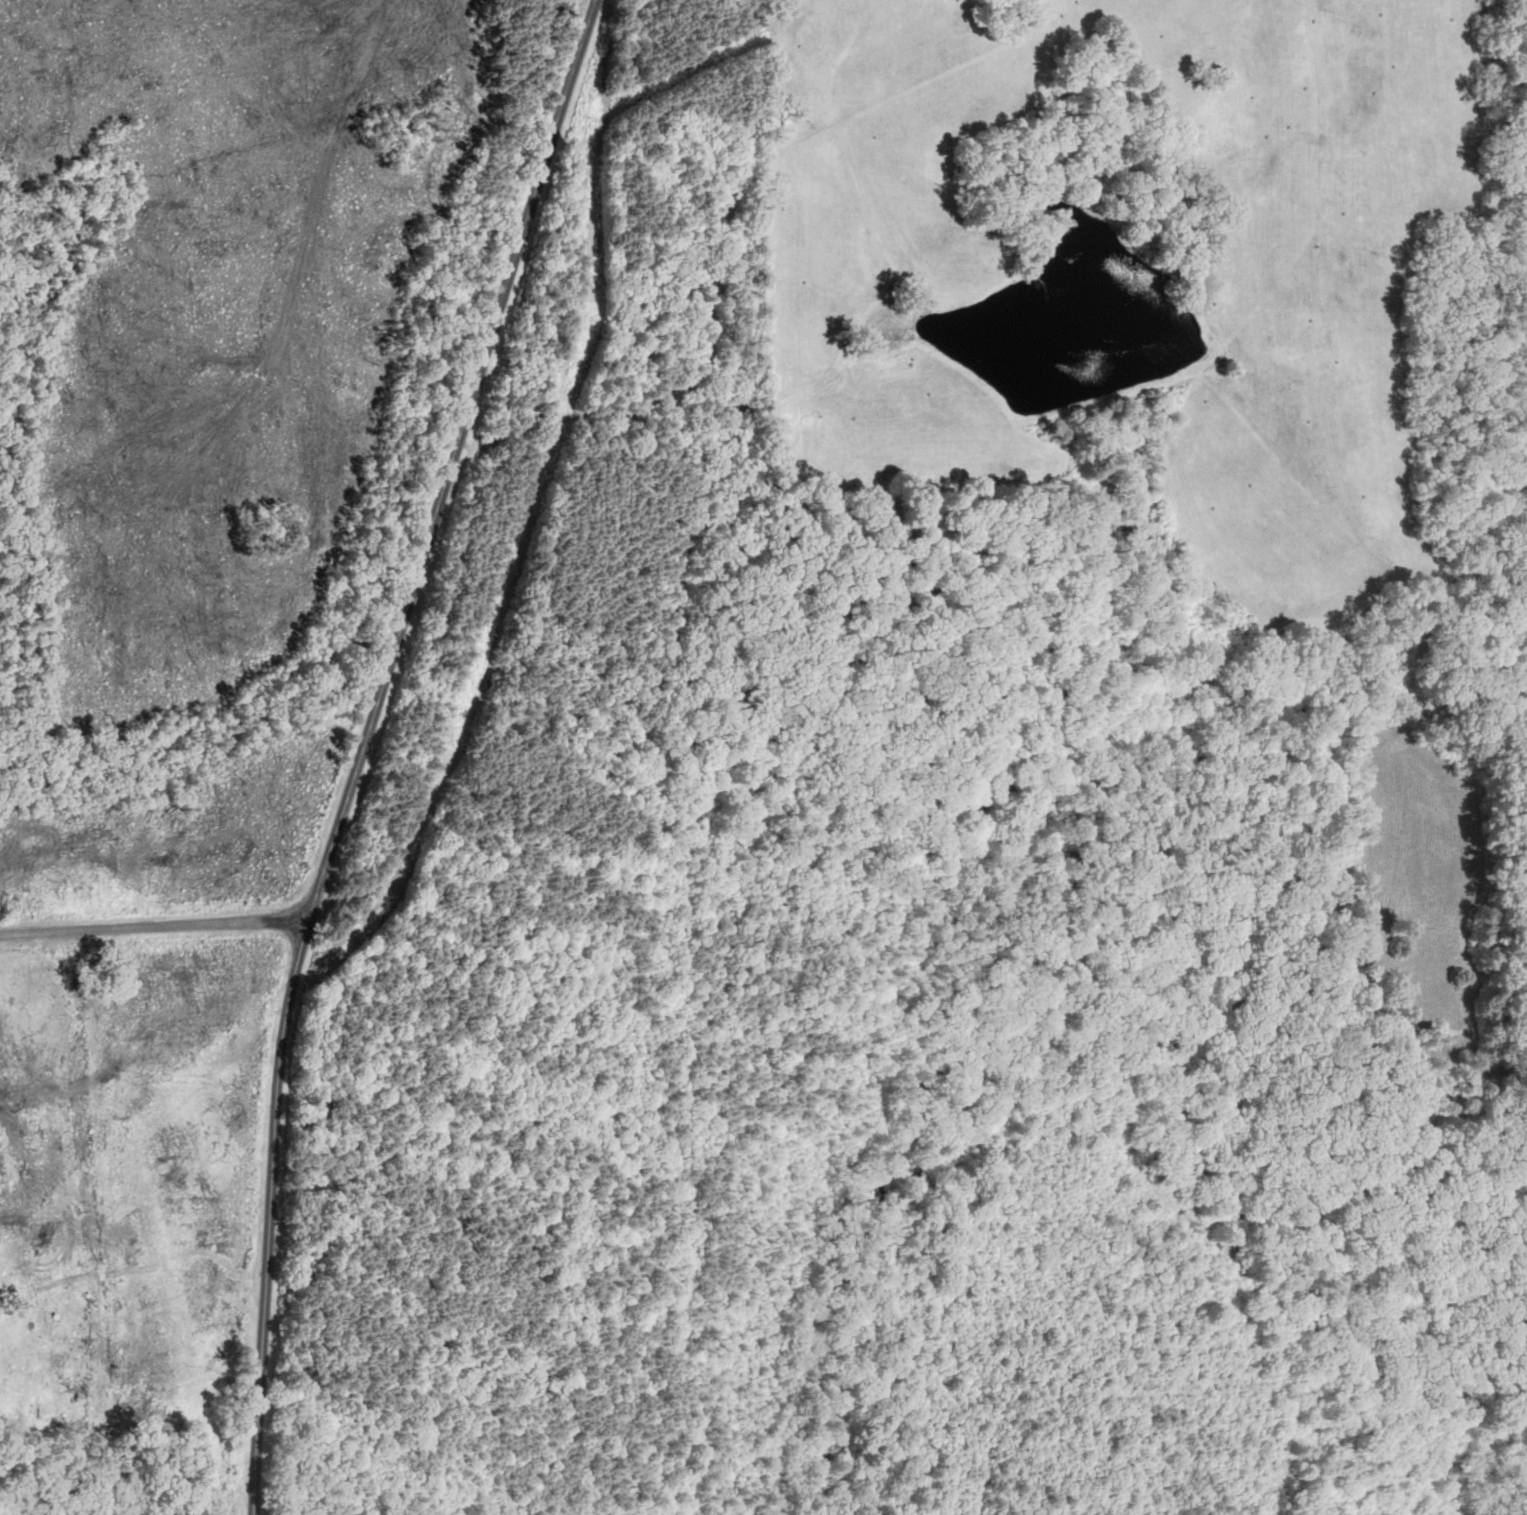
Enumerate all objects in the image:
road: (367, 733)
road: (154, 925)
road: (251, 1501)

